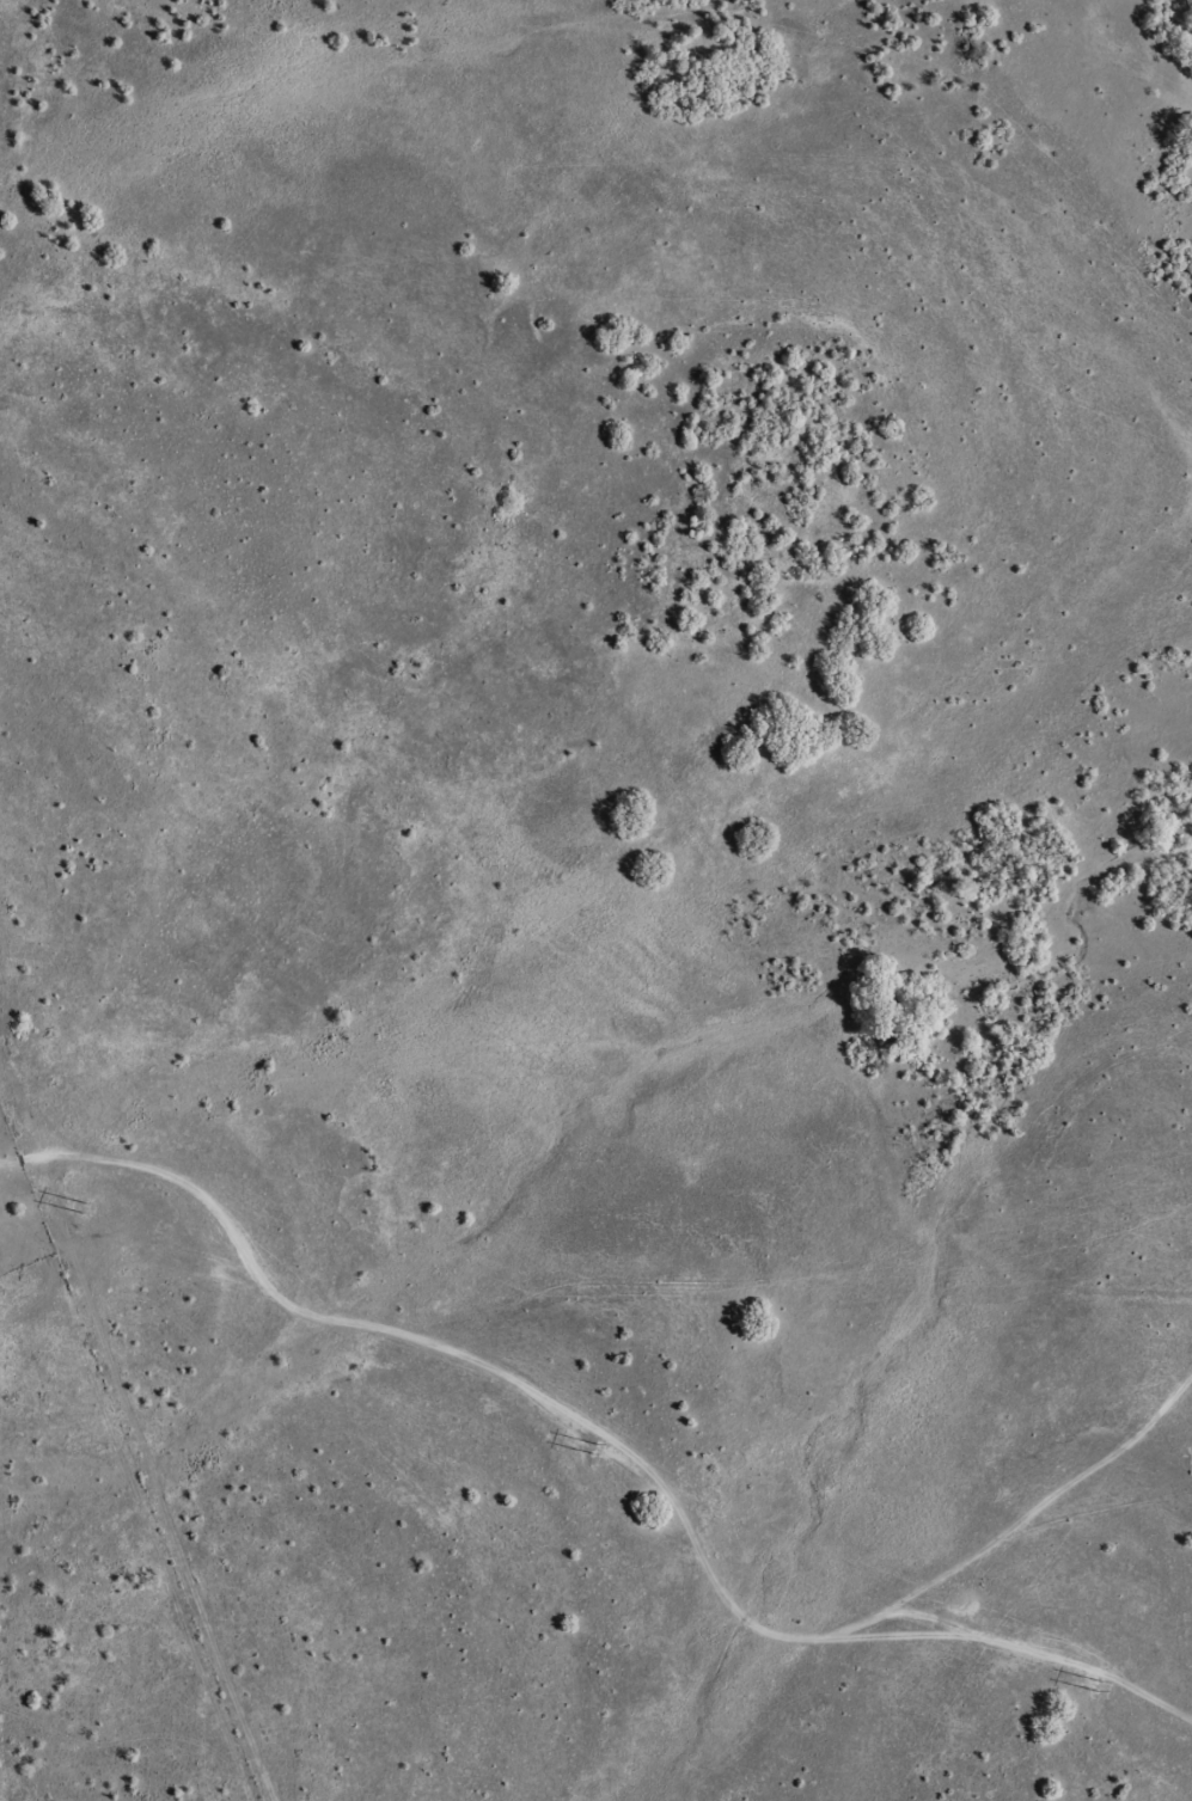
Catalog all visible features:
power tower: (10, 1174)
road: (599, 1318)
power tower: (367, 1342)
power tower: (716, 1506)
power tower: (1105, 1689)

